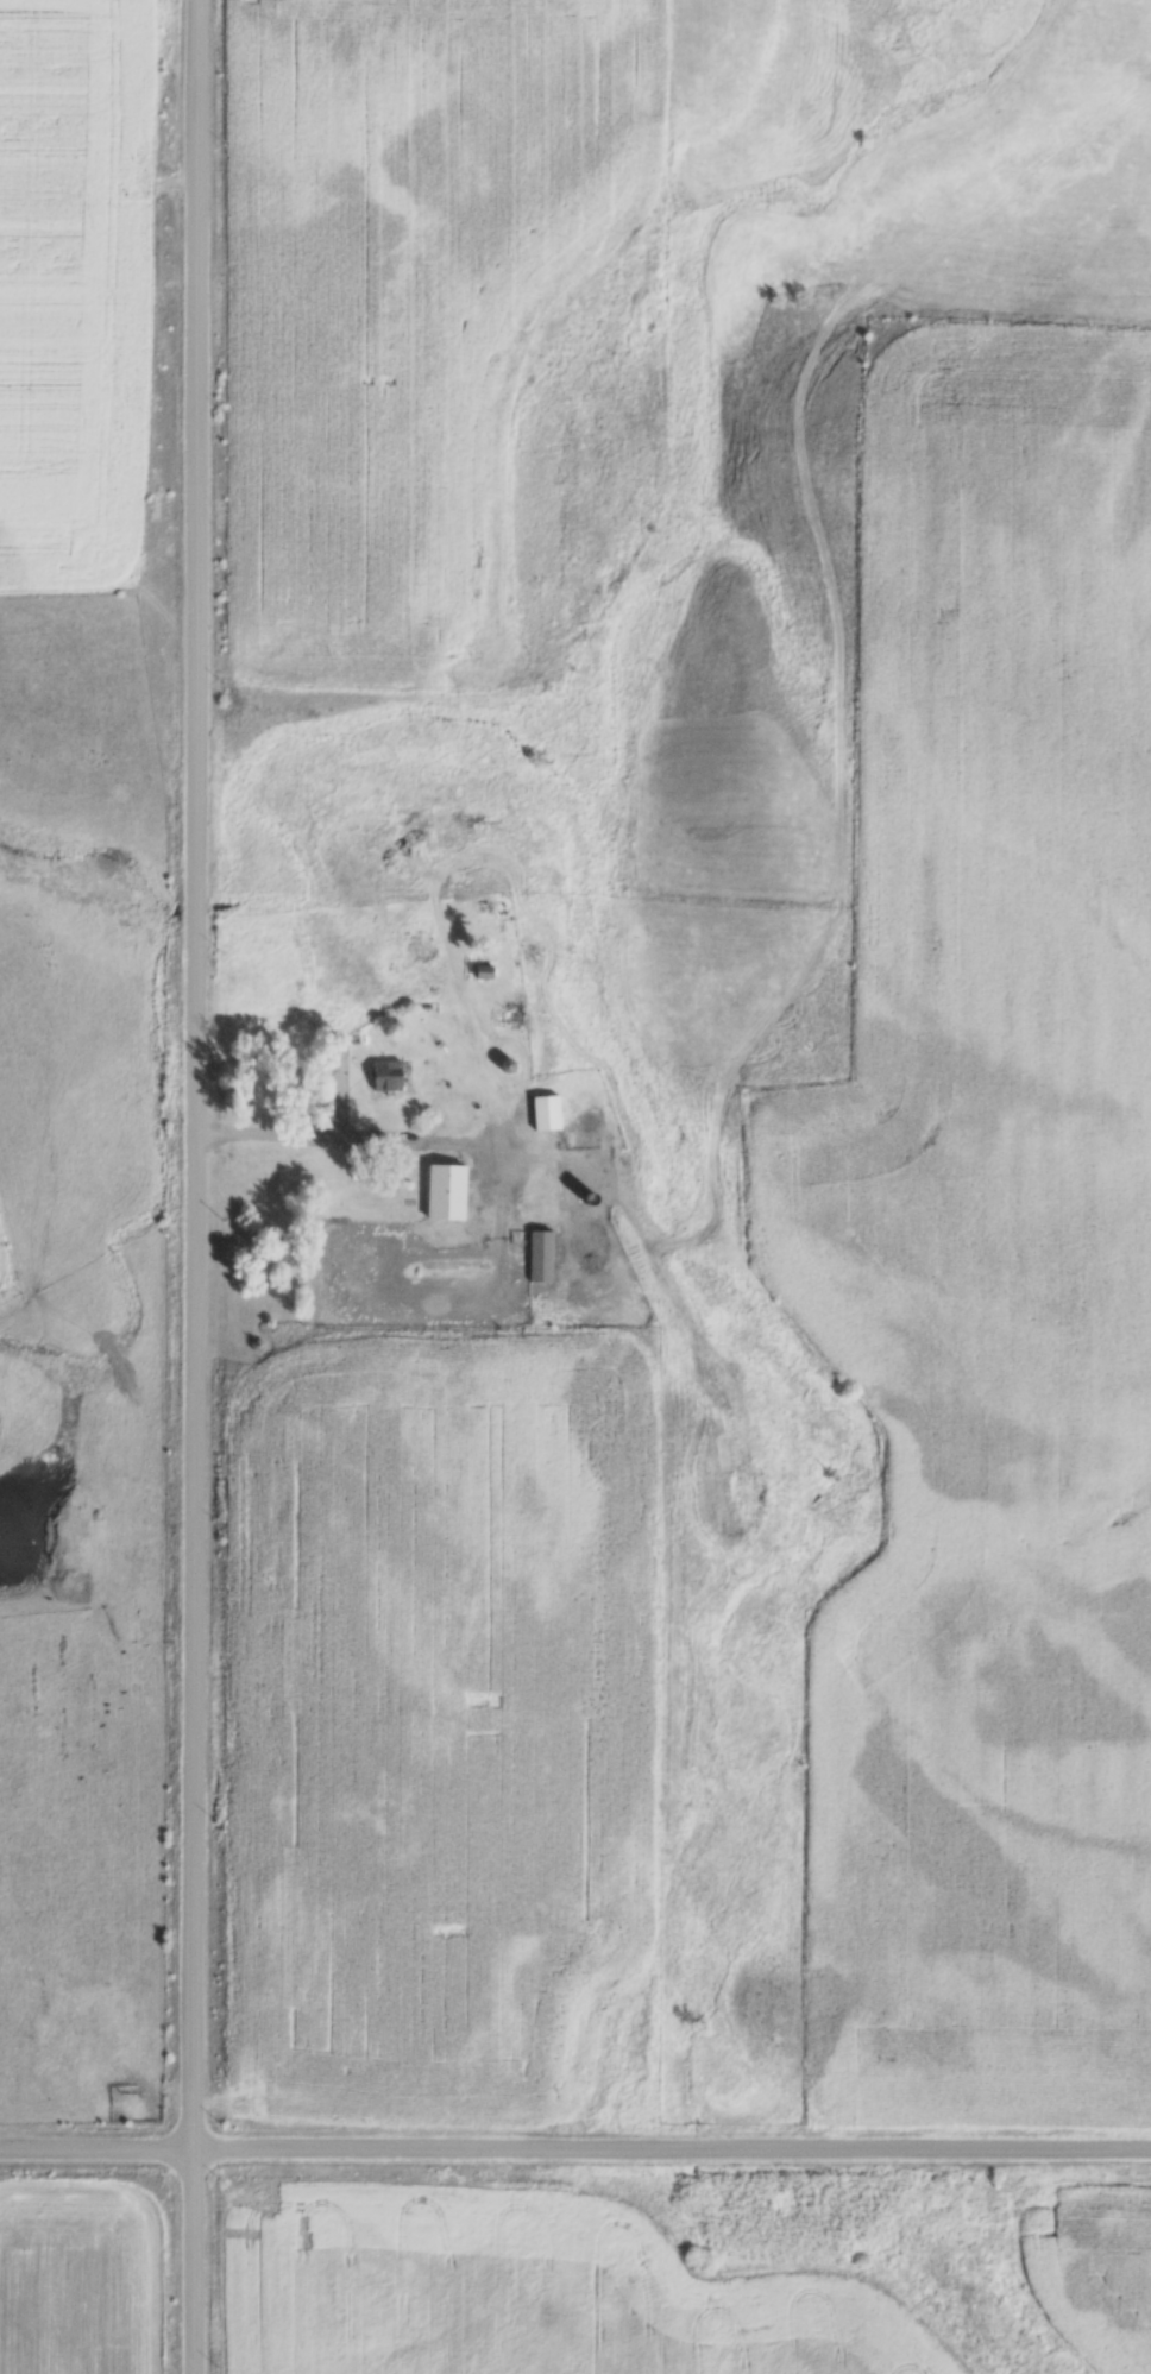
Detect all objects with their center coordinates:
building: (384, 1073)
building: (540, 1110)
road: (398, 1131)
road: (206, 1186)
building: (441, 1190)
building: (535, 1254)
road: (575, 2159)

